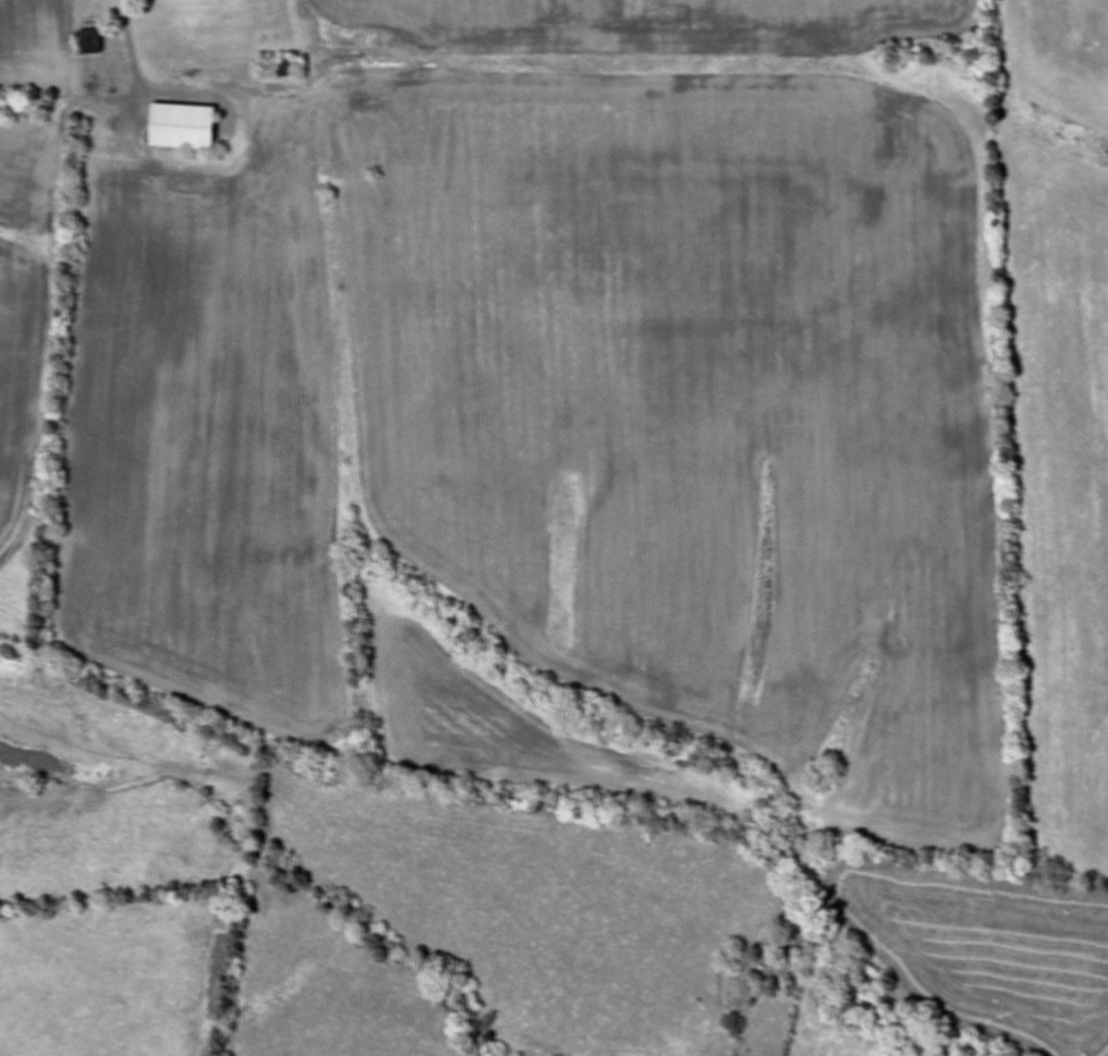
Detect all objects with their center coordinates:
building: (92, 41)
building: (186, 128)
road: (21, 147)

